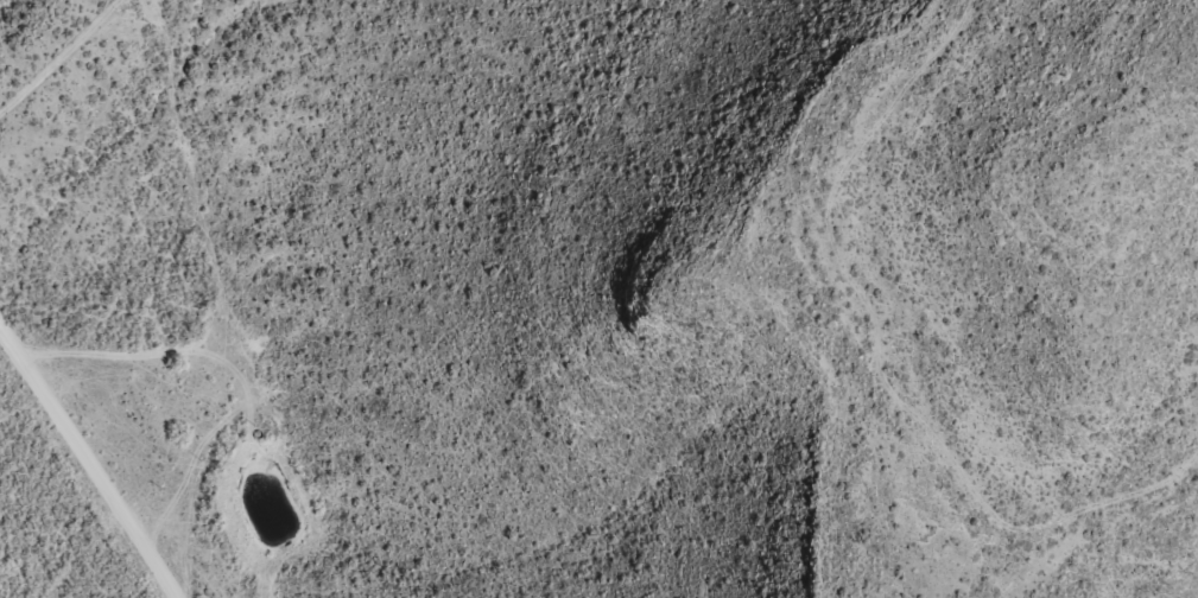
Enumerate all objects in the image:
road: (64, 495)

